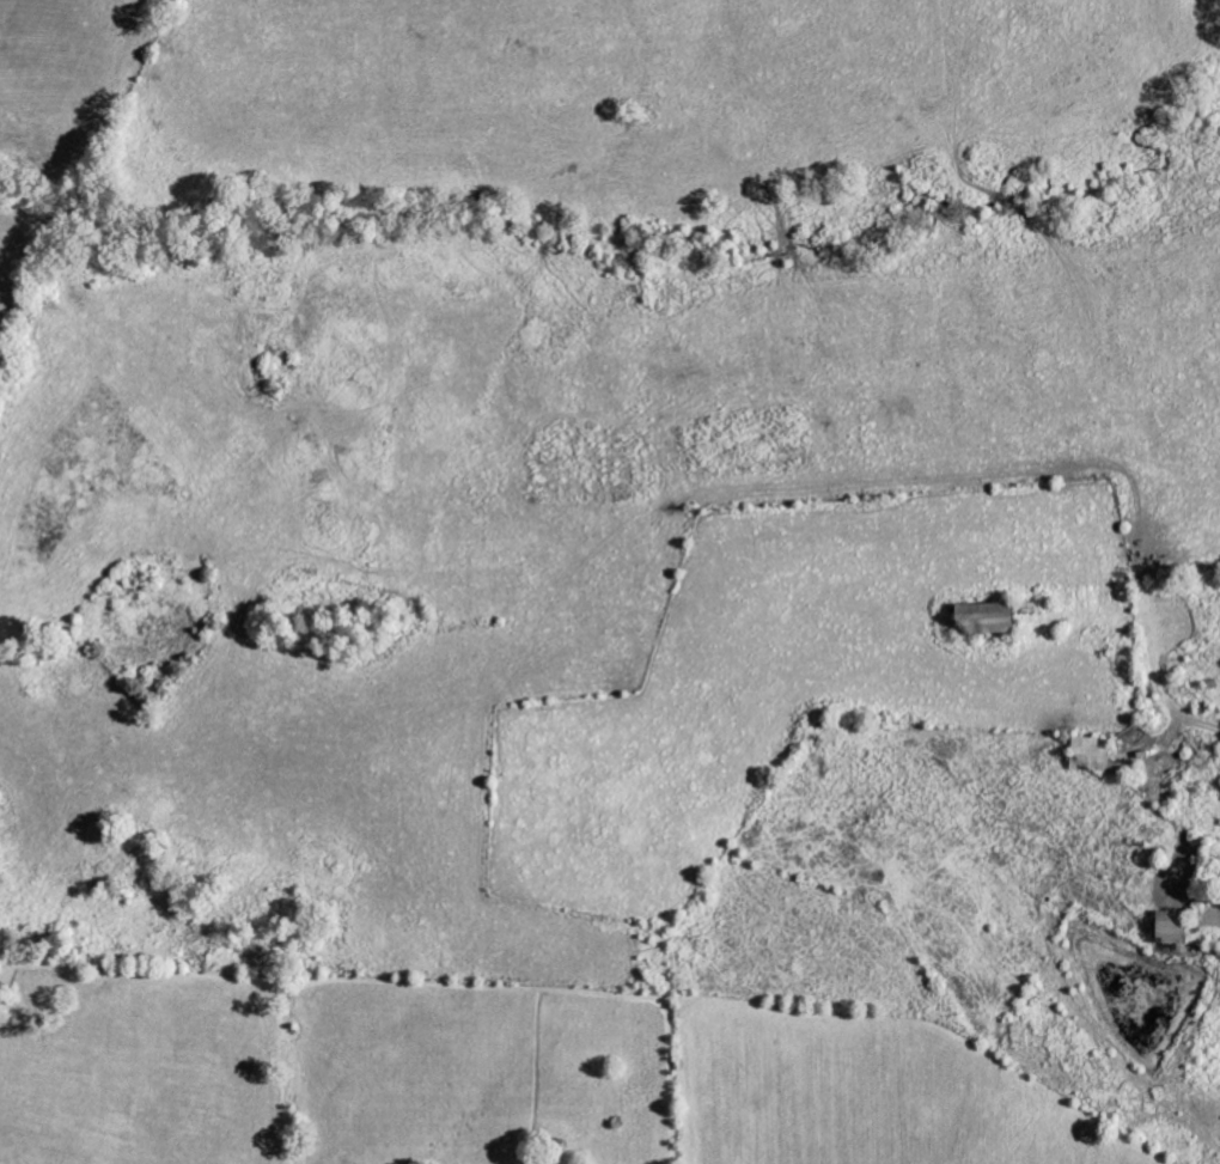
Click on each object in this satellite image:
building: (994, 618)
road: (1157, 638)
building: (1098, 756)
building: (1178, 928)

